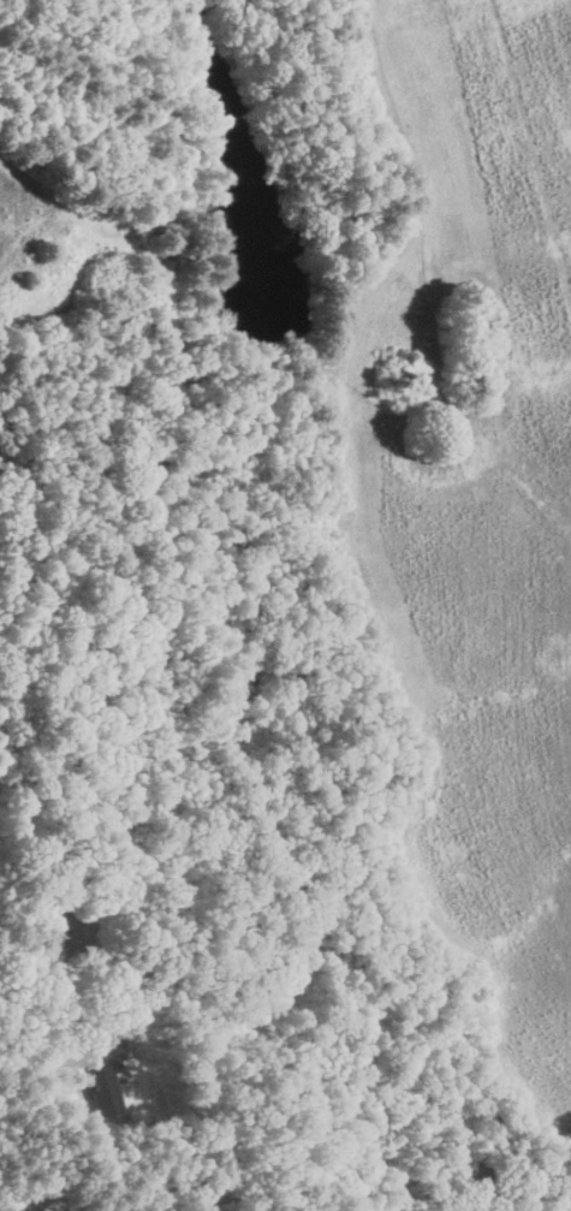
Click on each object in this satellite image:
building: (44, 918)
road: (34, 1058)
building: (100, 1090)
road: (76, 1206)

